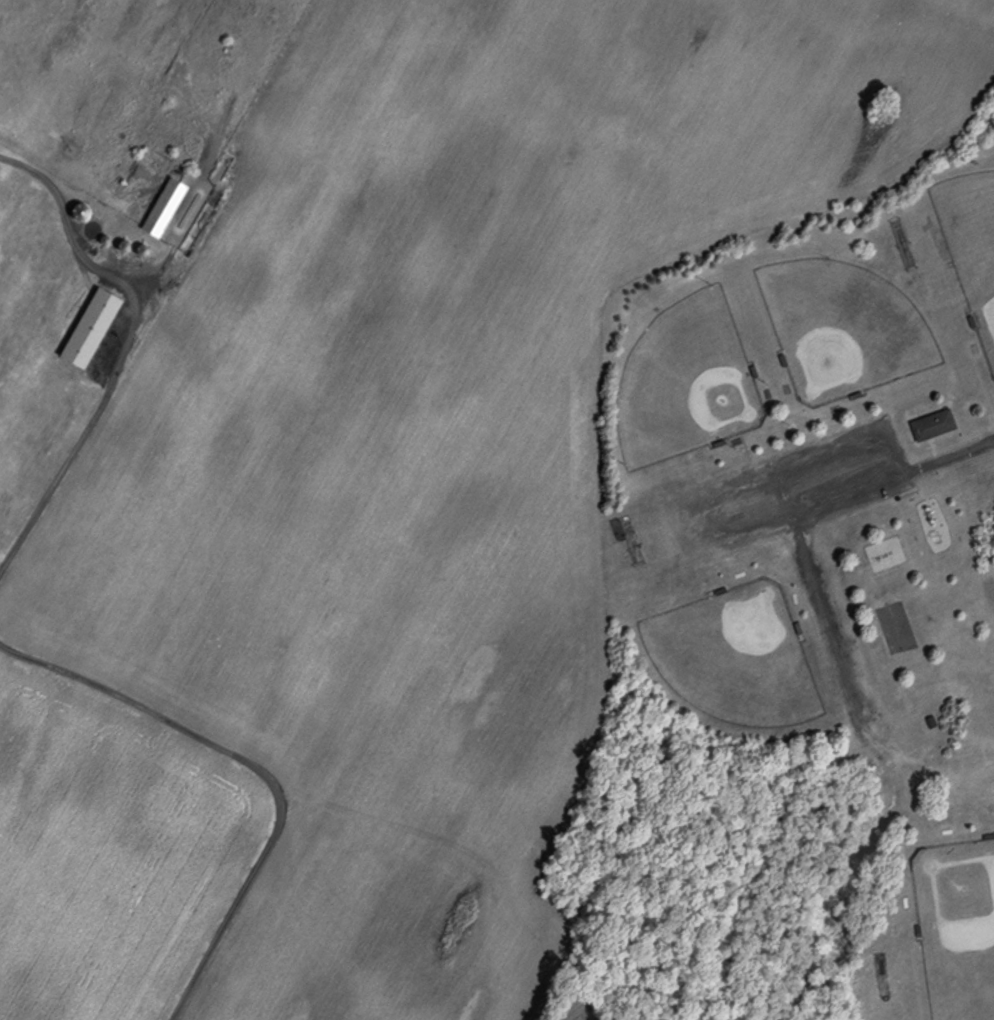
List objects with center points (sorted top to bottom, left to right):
park: (970, 245)
park: (844, 331)
road: (125, 349)
park: (685, 388)
road: (953, 459)
parking lot: (814, 486)
park: (811, 608)
park: (892, 631)
park: (734, 658)
road: (259, 769)
park: (955, 925)

